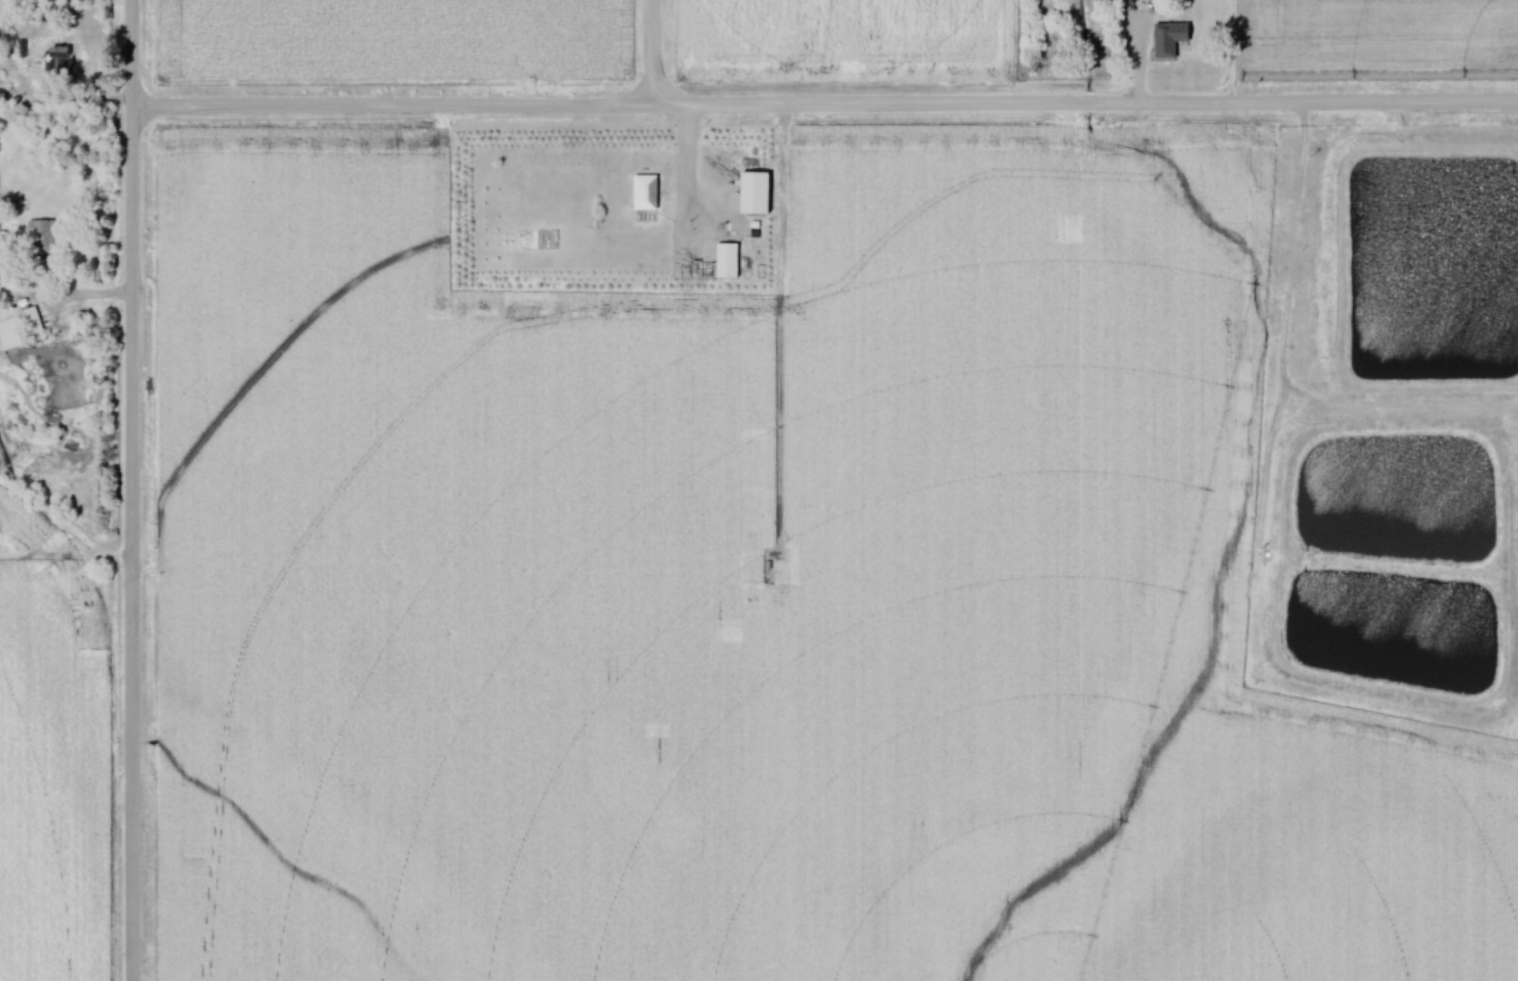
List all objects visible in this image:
building: (1176, 38)
crop: (1378, 45)
building: (25, 49)
road: (127, 55)
road: (649, 55)
building: (62, 61)
road: (822, 110)
road: (685, 175)
building: (648, 192)
building: (759, 192)
building: (45, 239)
road: (1288, 250)
building: (730, 262)
building: (24, 330)
road: (128, 545)

